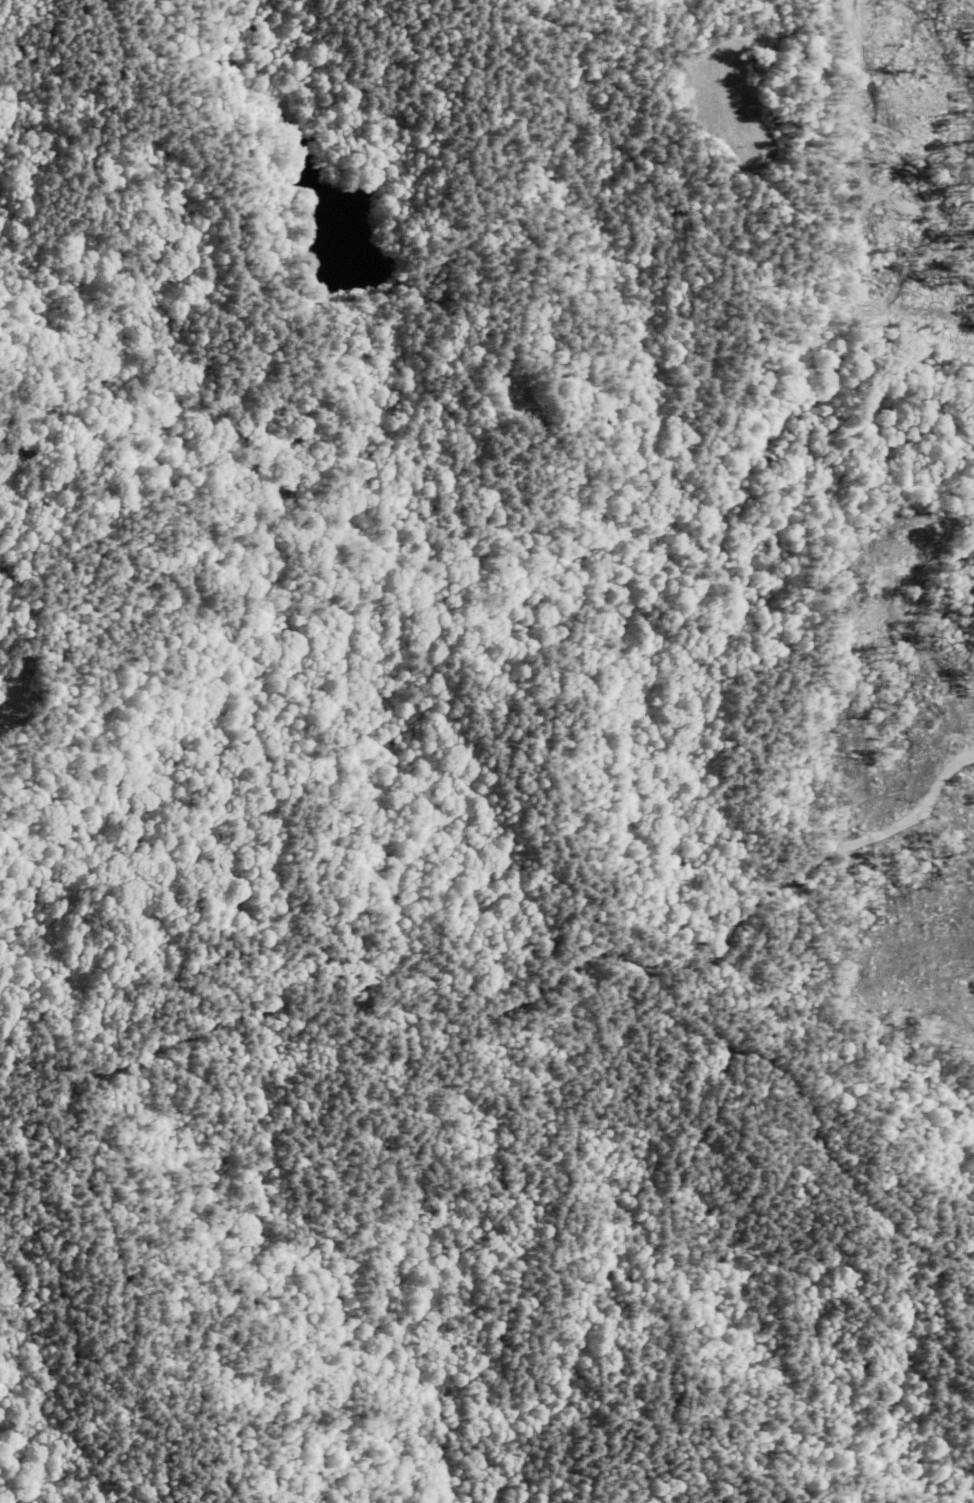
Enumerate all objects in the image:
road: (402, 1004)

